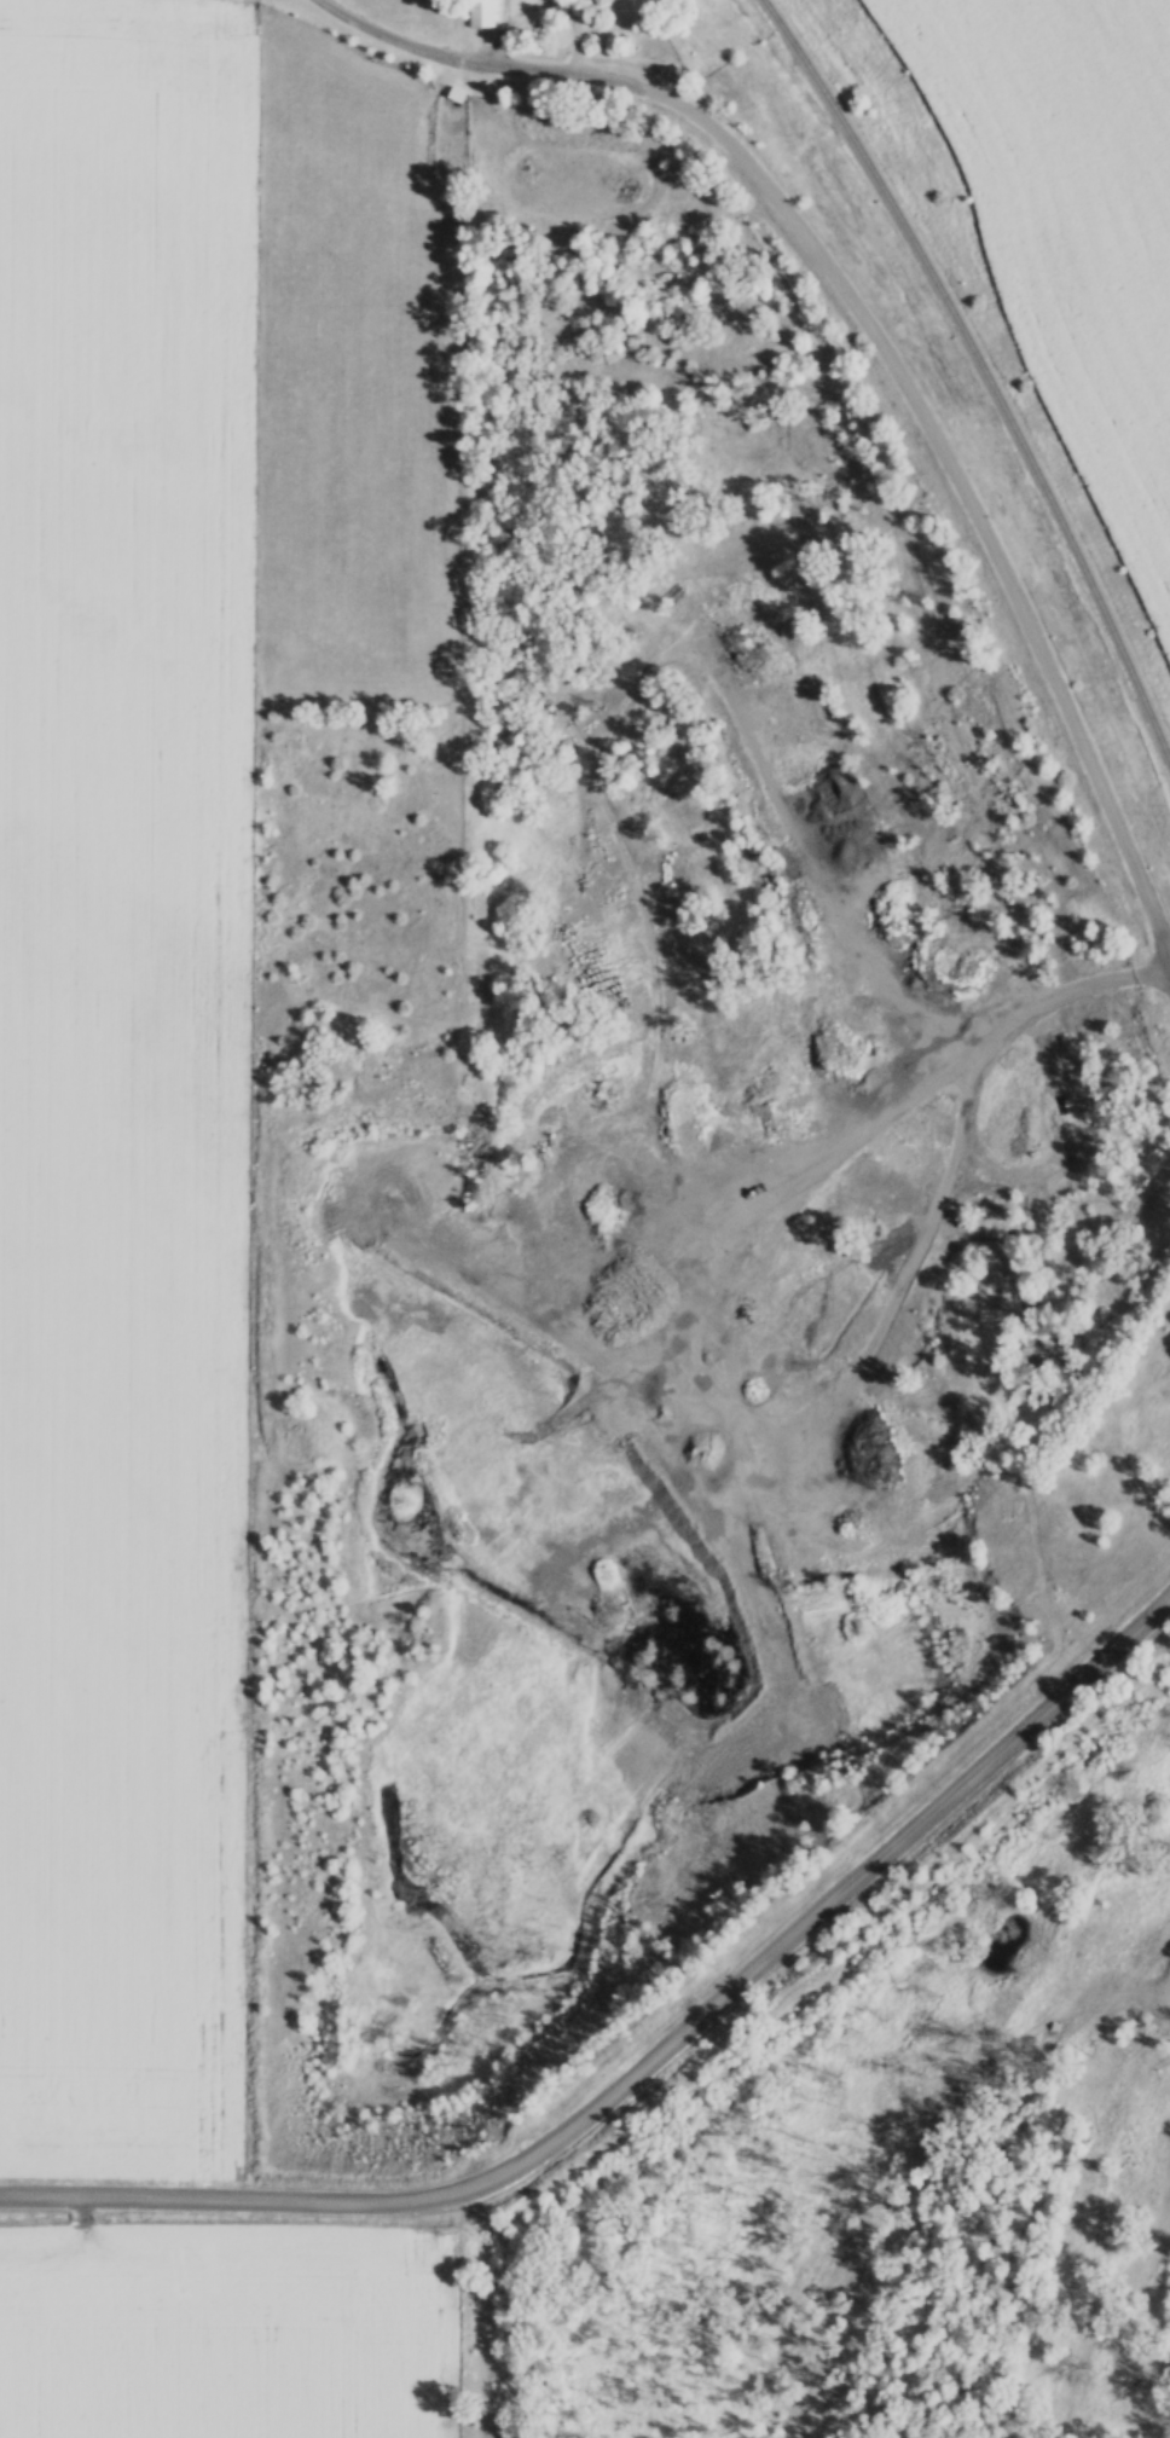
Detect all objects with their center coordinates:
building: (601, 1)
road: (332, 2)
building: (480, 13)
road: (882, 344)
railway: (985, 371)
road: (824, 865)
road: (627, 1460)
road: (650, 2052)

